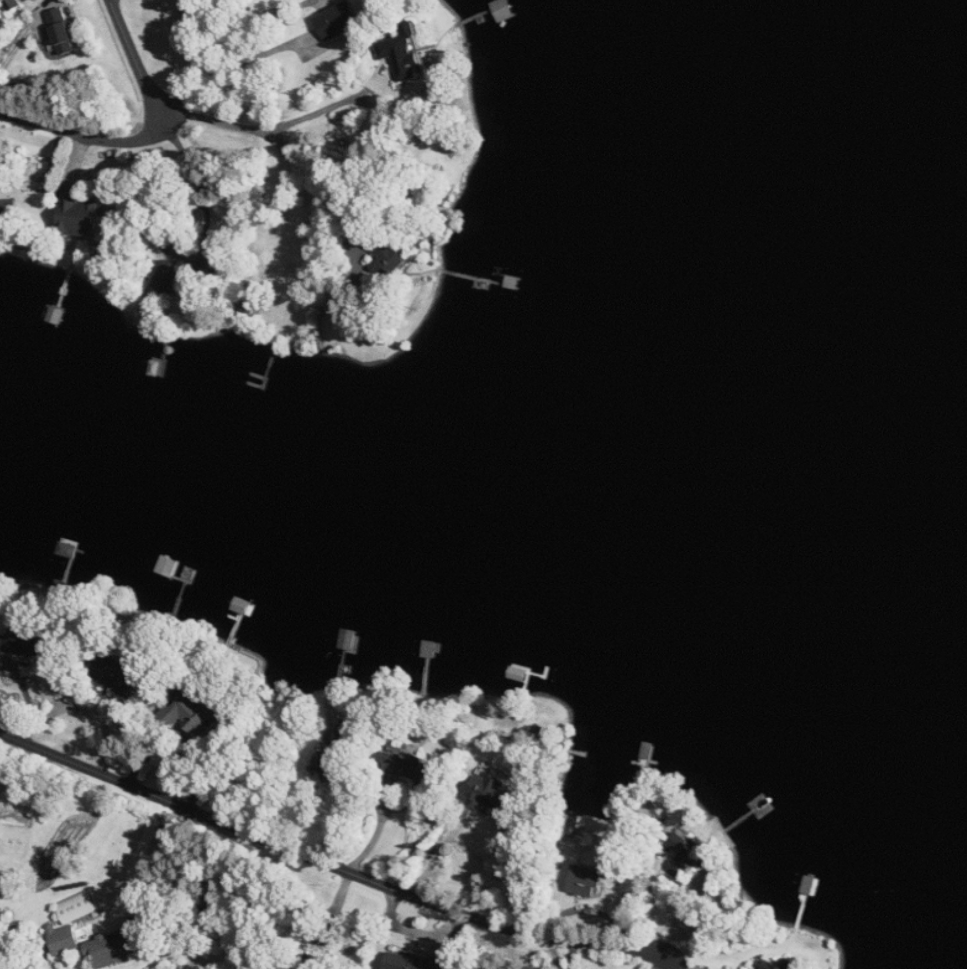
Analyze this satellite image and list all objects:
building: (15, 5)
road: (250, 21)
building: (339, 21)
building: (63, 29)
building: (405, 54)
road: (133, 57)
road: (234, 62)
road: (256, 126)
road: (88, 137)
road: (78, 157)
road: (311, 183)
building: (8, 212)
building: (80, 214)
road: (207, 233)
building: (172, 277)
building: (24, 643)
building: (118, 674)
building: (348, 738)
building: (332, 763)
building: (418, 769)
building: (494, 793)
road: (376, 837)
building: (687, 854)
road: (326, 862)
road: (138, 869)
building: (80, 907)
road: (660, 915)
road: (414, 932)
road: (553, 946)
building: (115, 948)
building: (317, 962)
building: (417, 962)
building: (783, 965)

